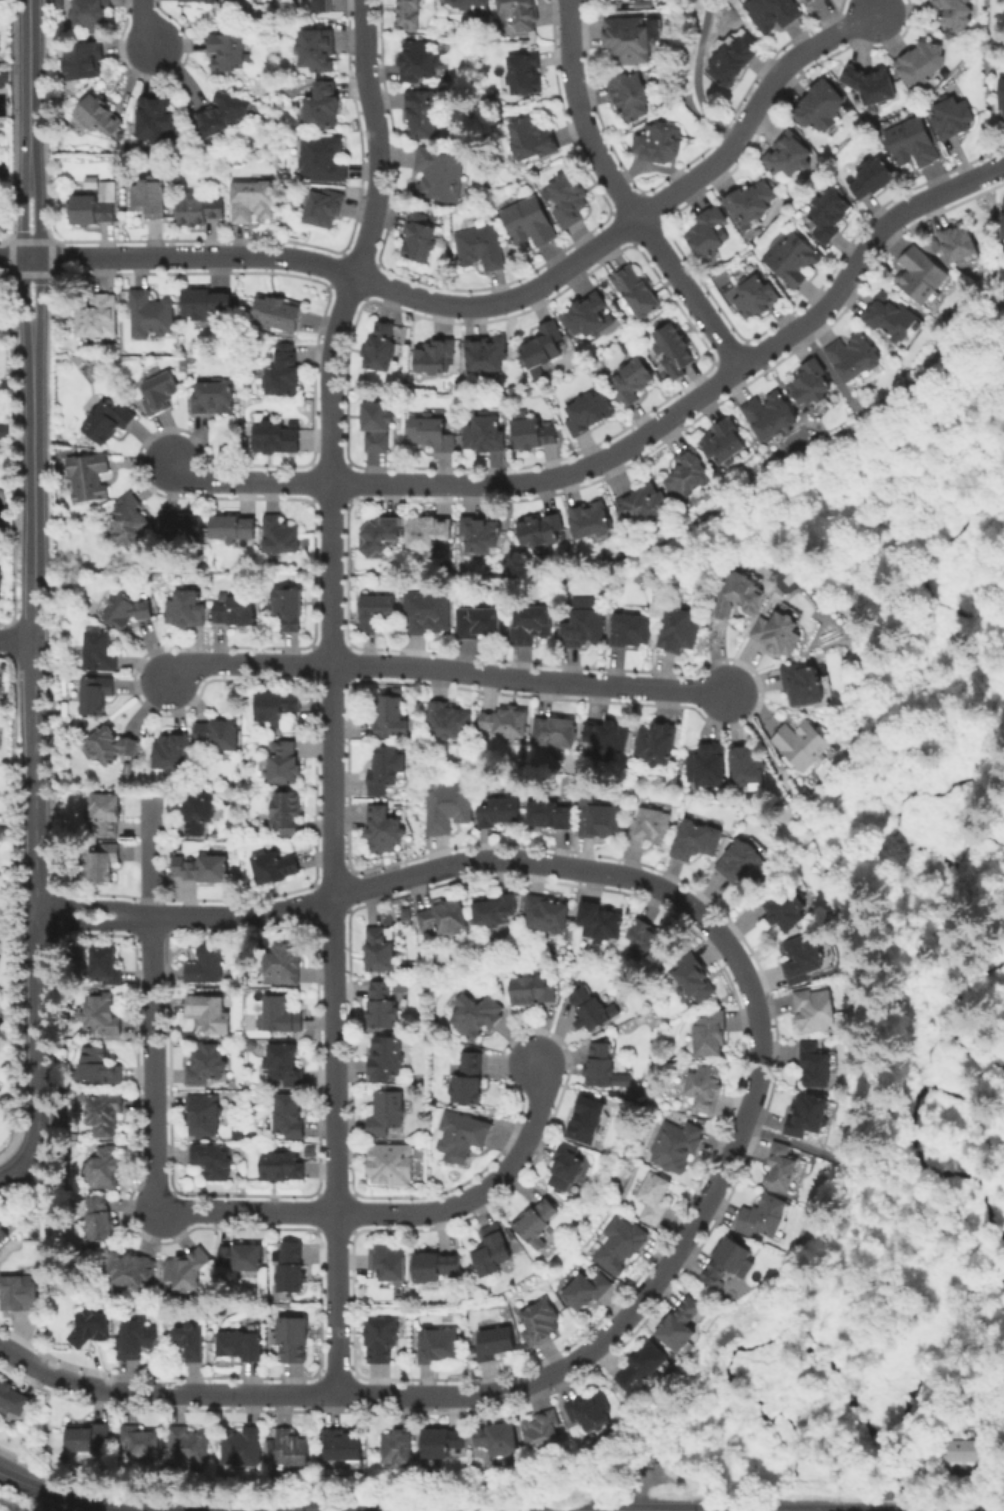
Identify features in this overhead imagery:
building: (196, 0)
building: (261, 0)
building: (805, 0)
building: (323, 7)
building: (475, 8)
building: (521, 11)
building: (411, 12)
building: (767, 12)
building: (92, 13)
building: (958, 14)
road: (145, 24)
building: (630, 40)
building: (313, 44)
building: (228, 53)
building: (729, 54)
building: (81, 58)
building: (919, 60)
building: (420, 61)
park: (701, 68)
building: (527, 74)
road: (29, 77)
road: (693, 78)
building: (2, 79)
building: (869, 85)
building: (631, 95)
building: (1002, 95)
building: (821, 103)
building: (322, 104)
road: (752, 106)
building: (425, 110)
building: (93, 112)
building: (153, 117)
building: (224, 117)
building: (955, 117)
building: (531, 141)
building: (914, 141)
building: (656, 146)
building: (790, 154)
building: (322, 156)
building: (437, 170)
building: (871, 174)
building: (108, 190)
road: (623, 192)
building: (151, 193)
building: (254, 197)
building: (570, 199)
building: (749, 201)
building: (323, 207)
building: (90, 208)
building: (202, 208)
building: (830, 213)
building: (1001, 217)
building: (529, 222)
building: (705, 233)
building: (420, 238)
building: (961, 240)
road: (24, 246)
road: (39, 247)
building: (481, 248)
building: (793, 258)
road: (336, 268)
building: (1002, 269)
building: (923, 276)
building: (753, 293)
building: (634, 295)
building: (206, 310)
building: (147, 312)
building: (95, 313)
building: (279, 313)
building: (586, 316)
building: (893, 320)
building: (674, 341)
building: (541, 344)
building: (377, 348)
building: (435, 353)
building: (483, 354)
building: (855, 357)
building: (282, 369)
building: (632, 378)
building: (813, 388)
building: (159, 393)
road: (700, 394)
building: (212, 398)
building: (586, 409)
building: (770, 416)
building: (107, 419)
building: (372, 420)
building: (427, 428)
building: (528, 428)
building: (3, 430)
building: (481, 430)
building: (277, 437)
building: (725, 442)
building: (88, 475)
building: (689, 476)
road: (248, 480)
building: (647, 507)
building: (589, 522)
building: (126, 525)
building: (187, 525)
building: (539, 527)
building: (482, 530)
building: (428, 532)
building: (236, 533)
building: (381, 535)
building: (280, 539)
building: (0, 586)
building: (739, 599)
building: (183, 604)
building: (289, 604)
building: (121, 605)
building: (239, 609)
building: (375, 610)
building: (429, 614)
building: (531, 622)
building: (480, 623)
building: (584, 624)
building: (631, 632)
building: (681, 632)
building: (781, 634)
road: (17, 639)
building: (96, 649)
road: (247, 663)
road: (532, 678)
building: (804, 688)
building: (94, 693)
road: (336, 693)
building: (280, 708)
building: (391, 715)
building: (447, 716)
building: (509, 721)
building: (555, 730)
building: (608, 736)
building: (220, 737)
building: (657, 743)
building: (112, 745)
building: (805, 746)
building: (169, 751)
road: (35, 754)
building: (287, 767)
building: (384, 770)
building: (708, 770)
building: (749, 770)
building: (199, 810)
building: (449, 810)
building: (502, 813)
building: (105, 816)
building: (551, 816)
building: (290, 817)
building: (602, 822)
building: (650, 828)
building: (386, 832)
building: (4, 833)
building: (0, 838)
building: (696, 842)
building: (739, 863)
building: (102, 865)
building: (205, 867)
building: (278, 870)
building: (497, 910)
building: (785, 911)
building: (548, 914)
building: (447, 915)
building: (600, 920)
building: (2, 939)
building: (650, 944)
building: (382, 954)
building: (807, 957)
building: (289, 965)
building: (107, 969)
building: (209, 969)
building: (694, 984)
building: (535, 991)
building: (384, 1008)
building: (590, 1009)
building: (475, 1012)
building: (816, 1013)
building: (212, 1016)
building: (105, 1017)
building: (287, 1018)
building: (2, 1026)
building: (711, 1036)
building: (388, 1055)
road: (157, 1065)
building: (604, 1066)
building: (211, 1067)
building: (287, 1067)
building: (816, 1067)
building: (100, 1068)
building: (466, 1080)
building: (704, 1089)
building: (385, 1111)
road: (746, 1112)
building: (108, 1115)
building: (290, 1115)
building: (206, 1117)
building: (811, 1119)
building: (588, 1122)
building: (462, 1137)
building: (676, 1146)
building: (212, 1162)
building: (392, 1165)
building: (105, 1169)
building: (282, 1170)
building: (570, 1171)
building: (784, 1171)
road: (11, 1174)
road: (482, 1193)
building: (652, 1195)
road: (249, 1213)
building: (764, 1219)
building: (102, 1222)
building: (539, 1223)
building: (3, 1236)
building: (619, 1244)
building: (494, 1251)
building: (246, 1259)
building: (391, 1265)
building: (728, 1267)
building: (437, 1269)
building: (188, 1271)
building: (294, 1272)
building: (133, 1274)
building: (585, 1290)
building: (20, 1297)
building: (540, 1324)
building: (682, 1329)
building: (93, 1330)
building: (295, 1340)
building: (383, 1341)
building: (499, 1342)
building: (194, 1344)
building: (139, 1345)
building: (439, 1348)
building: (245, 1350)
building: (646, 1372)
building: (14, 1402)
building: (594, 1416)
building: (546, 1435)
building: (502, 1442)
building: (91, 1443)
building: (144, 1445)
building: (194, 1446)
building: (248, 1449)
building: (447, 1449)
building: (964, 1451)
building: (399, 1452)
building: (296, 1453)
building: (350, 1453)
road: (12, 1478)
road: (218, 1507)

